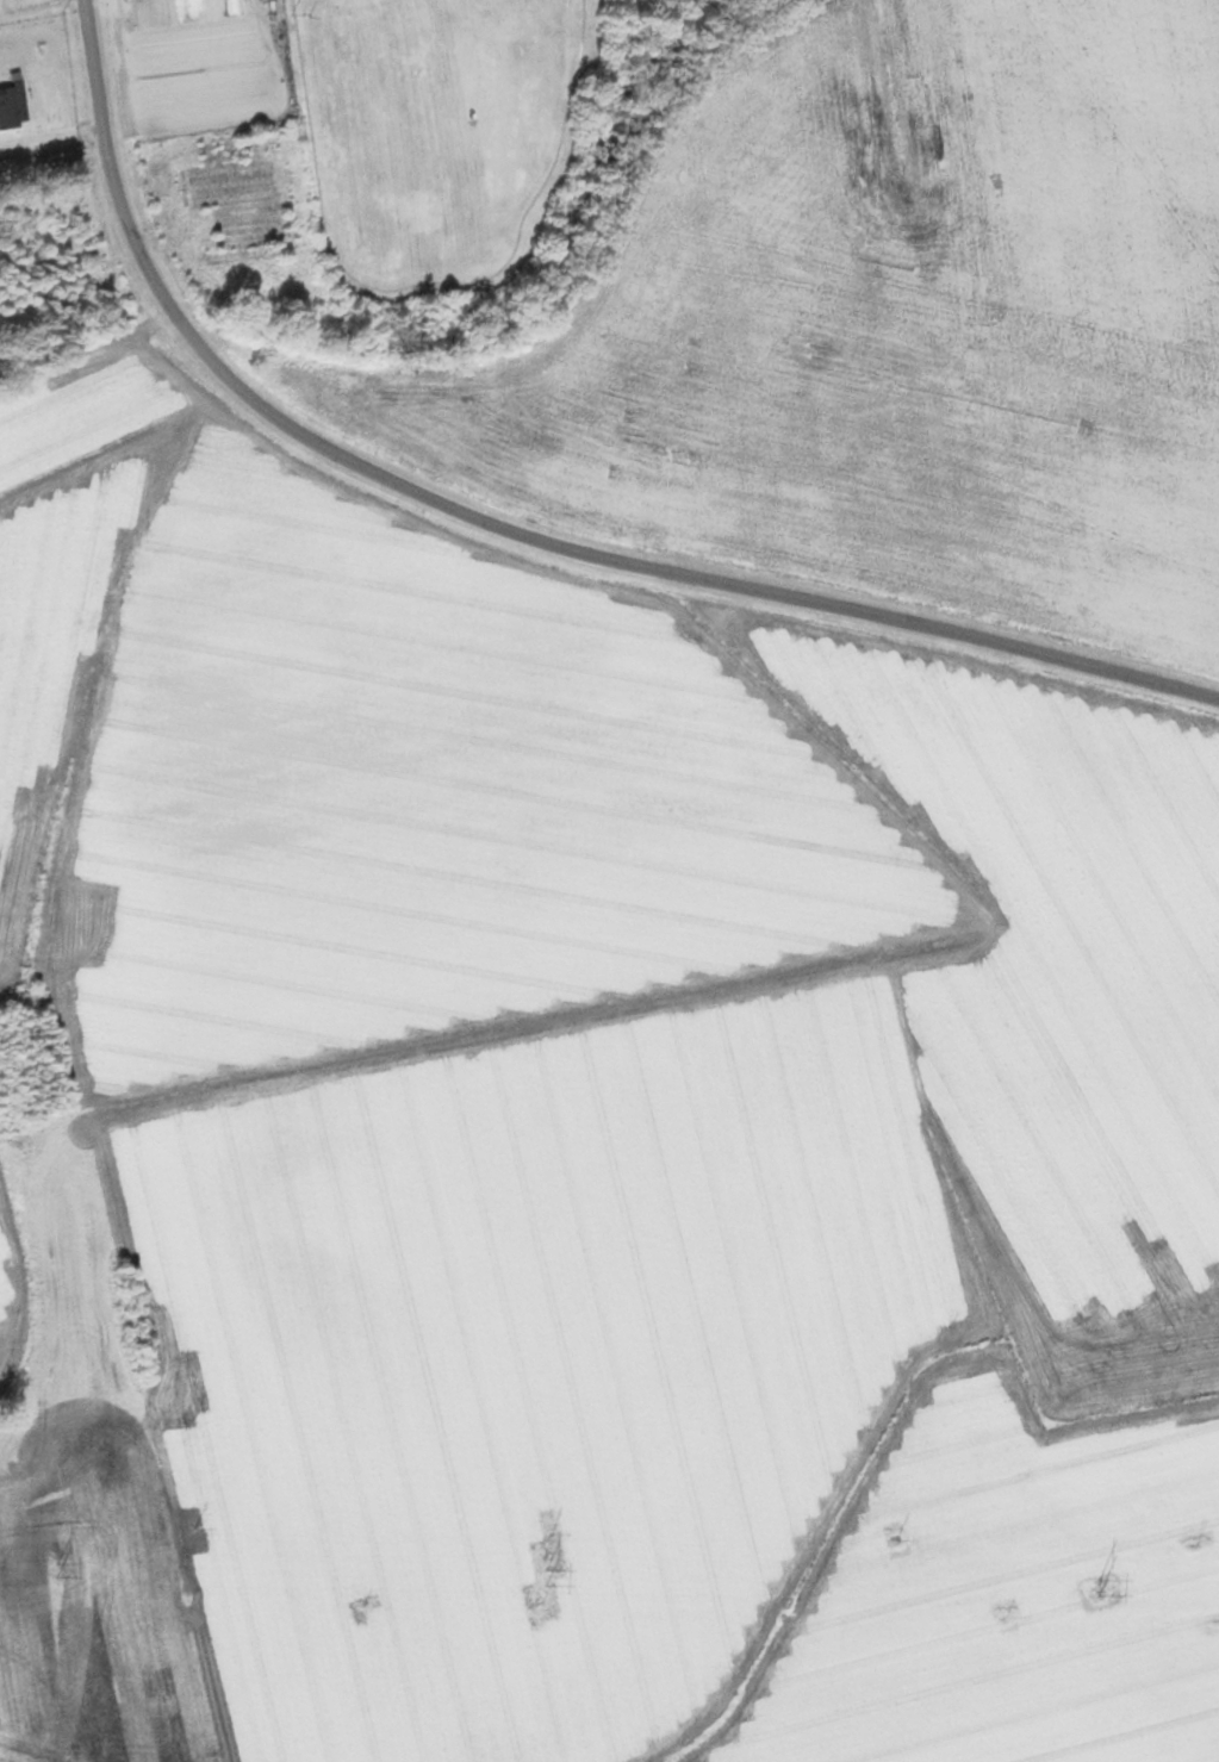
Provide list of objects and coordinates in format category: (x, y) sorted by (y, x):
building: (8, 108)
road: (504, 530)
power tower: (55, 1570)
power tower: (535, 1580)
power tower: (1091, 1588)

